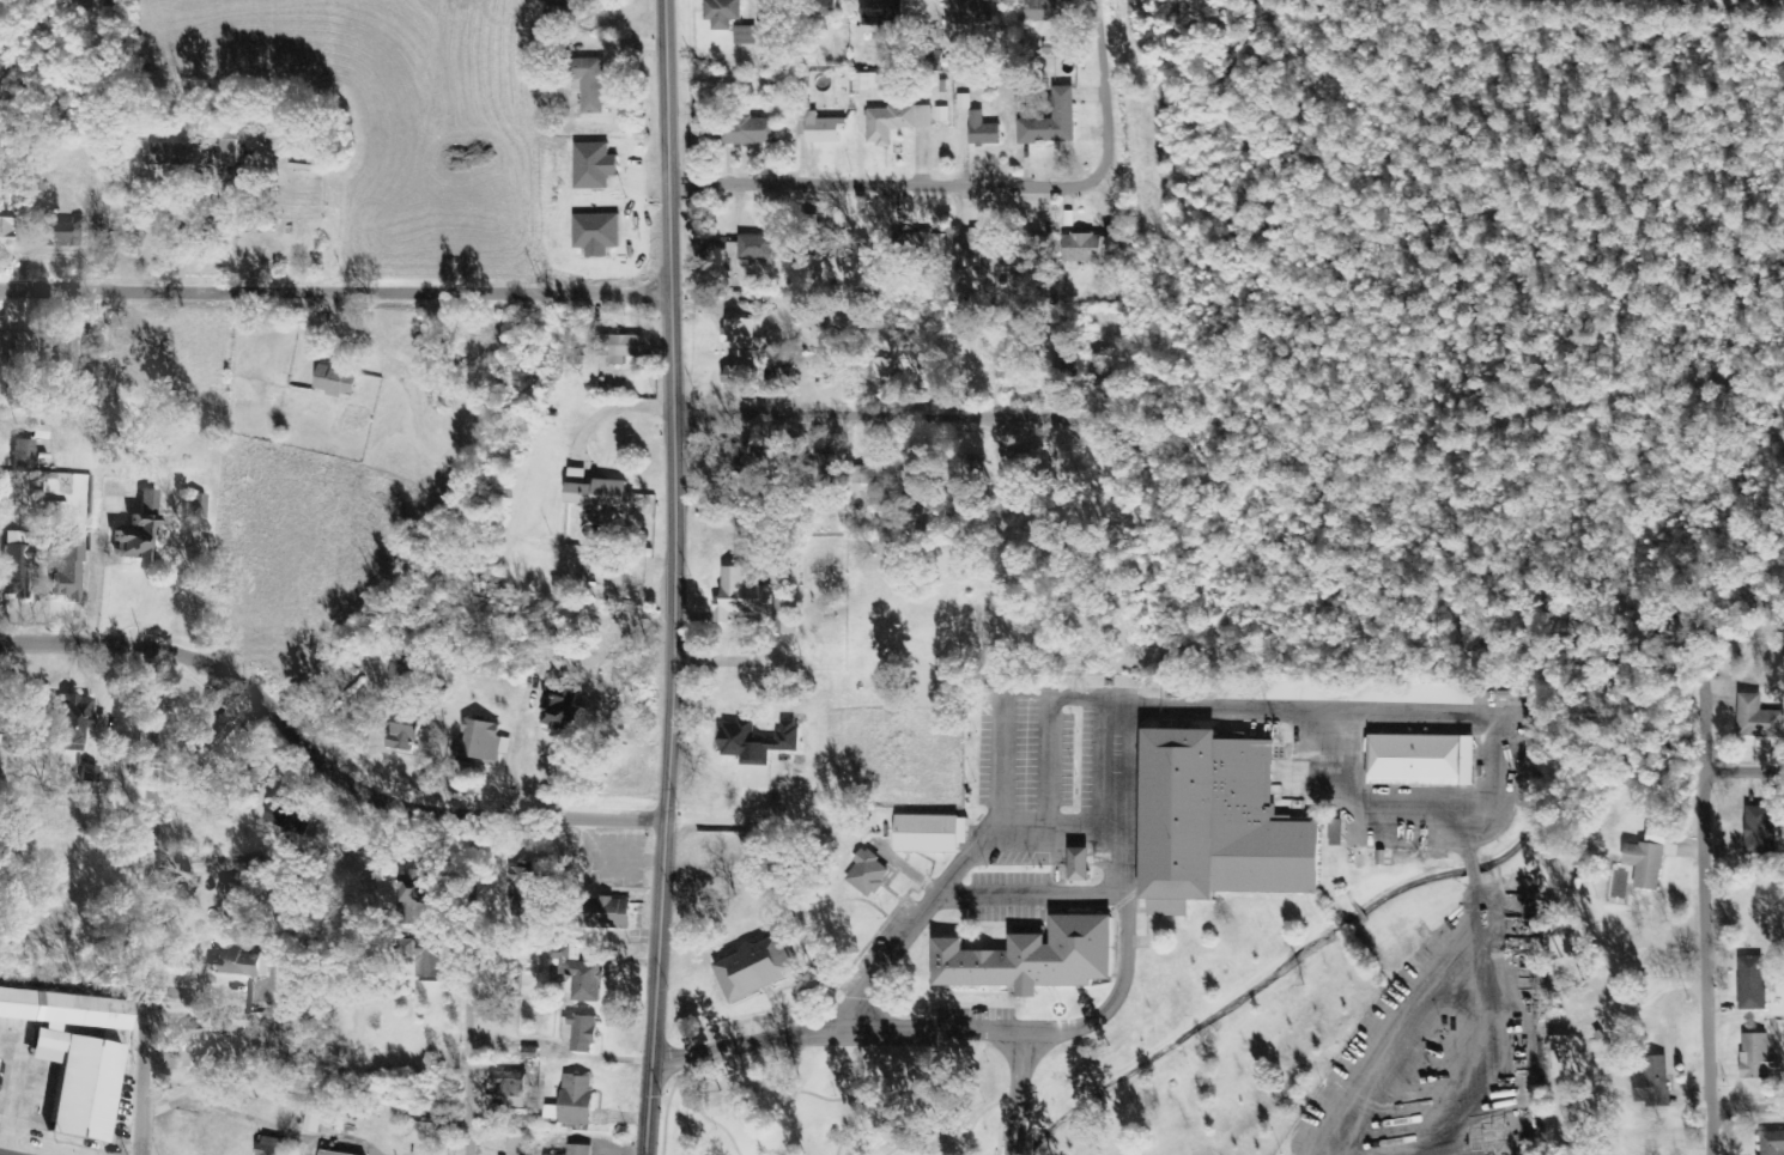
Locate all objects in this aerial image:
building: (51, 1)
building: (826, 7)
building: (967, 11)
building: (1046, 11)
building: (722, 13)
building: (880, 14)
building: (745, 35)
building: (866, 81)
building: (588, 85)
road: (1116, 98)
building: (963, 102)
building: (1050, 121)
building: (894, 122)
building: (818, 126)
building: (982, 130)
building: (752, 132)
road: (107, 144)
building: (176, 156)
road: (866, 175)
building: (253, 227)
building: (2, 229)
building: (63, 233)
building: (975, 244)
building: (914, 245)
building: (1110, 245)
building: (752, 249)
building: (1031, 249)
building: (1082, 249)
road: (336, 287)
building: (738, 334)
building: (619, 348)
building: (63, 354)
building: (1057, 361)
building: (1106, 366)
building: (735, 371)
building: (882, 371)
building: (335, 381)
road: (918, 413)
building: (22, 455)
building: (742, 460)
building: (823, 470)
building: (875, 478)
building: (595, 493)
building: (194, 506)
building: (136, 531)
building: (13, 564)
building: (63, 570)
road: (672, 577)
building: (741, 596)
road: (80, 643)
building: (399, 669)
building: (559, 706)
road: (1375, 713)
building: (1758, 719)
building: (68, 721)
building: (405, 729)
building: (481, 741)
building: (756, 741)
building: (1419, 760)
road: (1731, 771)
building: (87, 773)
road: (388, 803)
road: (1000, 807)
building: (284, 817)
building: (1215, 822)
road: (1063, 827)
building: (1759, 831)
building: (926, 833)
road: (1464, 835)
building: (1646, 859)
road: (1472, 869)
building: (866, 874)
road: (686, 876)
building: (526, 888)
road: (946, 893)
building: (227, 896)
road: (151, 899)
building: (605, 913)
building: (420, 918)
road: (1124, 955)
building: (1032, 958)
building: (239, 963)
building: (754, 968)
building: (584, 981)
road: (1718, 984)
building: (1750, 984)
road: (472, 985)
building: (14, 1004)
building: (80, 1011)
building: (578, 1033)
road: (837, 1033)
road: (1491, 1033)
building: (1560, 1042)
road: (1392, 1044)
building: (194, 1048)
building: (1756, 1057)
building: (1652, 1082)
building: (79, 1084)
building: (572, 1101)
road: (1750, 1114)
building: (312, 1119)
building: (423, 1133)
building: (518, 1143)
building: (1772, 1143)
road: (1013, 1144)
building: (272, 1145)
building: (578, 1150)
building: (330, 1153)

